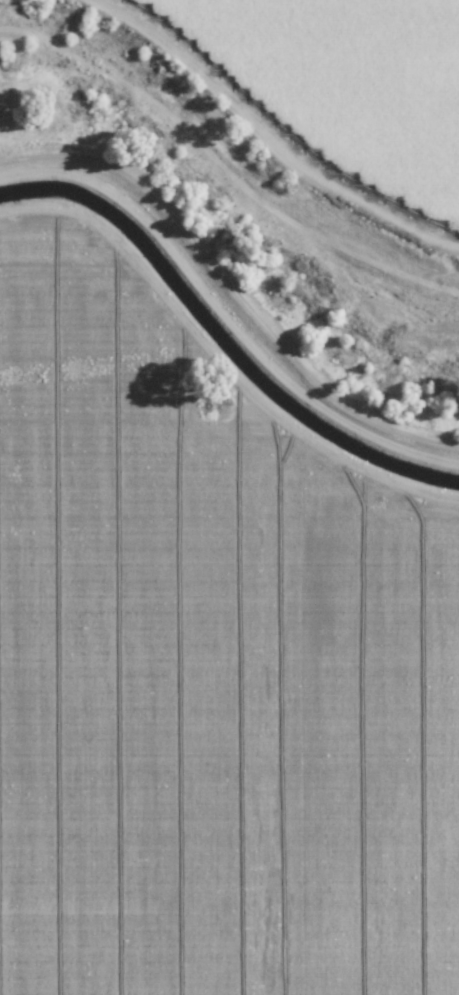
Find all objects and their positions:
crop: (334, 95)
crop: (205, 674)

